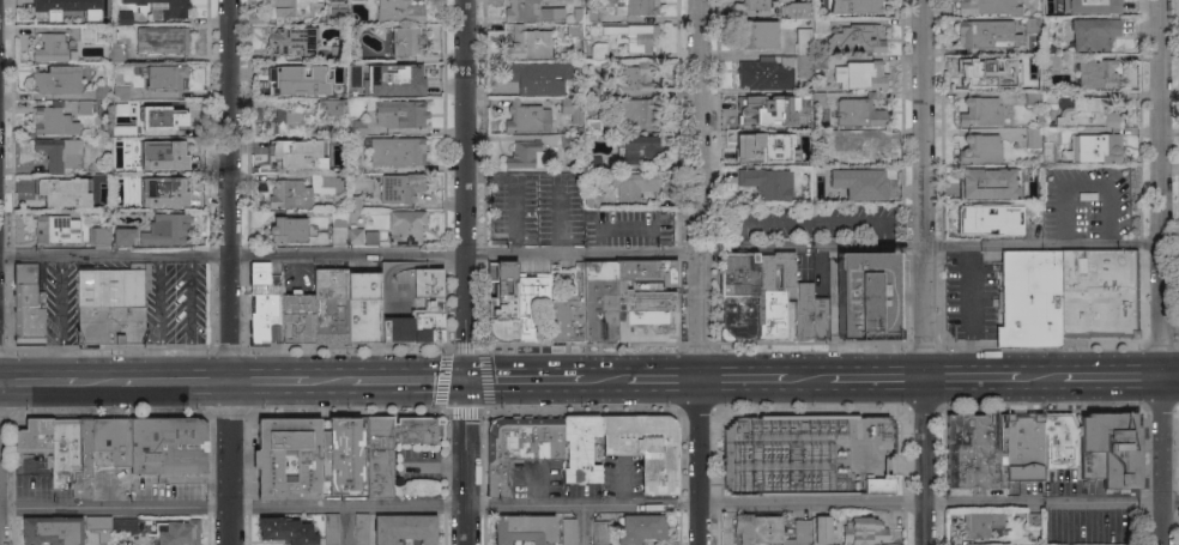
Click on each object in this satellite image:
building: (91, 1)
building: (755, 5)
building: (855, 6)
building: (1098, 6)
building: (634, 7)
building: (987, 7)
building: (163, 8)
building: (796, 8)
building: (291, 10)
building: (49, 11)
building: (335, 11)
building: (398, 11)
building: (531, 11)
road: (738, 13)
building: (578, 14)
building: (592, 14)
building: (123, 18)
road: (649, 18)
building: (818, 24)
building: (1032, 24)
building: (359, 26)
building: (573, 29)
building: (86, 34)
building: (758, 34)
building: (987, 34)
building: (1093, 34)
building: (631, 36)
building: (857, 37)
building: (158, 40)
building: (291, 41)
building: (405, 41)
building: (803, 41)
building: (528, 43)
building: (53, 48)
building: (116, 52)
building: (598, 52)
building: (337, 53)
building: (1051, 60)
building: (818, 61)
building: (1030, 61)
building: (803, 65)
building: (745, 71)
building: (1096, 73)
building: (395, 74)
building: (859, 74)
building: (984, 74)
building: (164, 77)
building: (538, 77)
building: (636, 77)
building: (56, 80)
building: (297, 80)
building: (806, 85)
building: (594, 90)
building: (120, 91)
building: (367, 91)
building: (101, 92)
building: (817, 97)
building: (1032, 97)
building: (1048, 97)
building: (84, 107)
building: (329, 107)
building: (762, 107)
building: (572, 108)
building: (634, 110)
building: (858, 110)
building: (980, 111)
building: (400, 113)
building: (1089, 113)
building: (165, 114)
building: (526, 117)
building: (289, 120)
building: (52, 121)
building: (799, 121)
building: (358, 126)
building: (592, 126)
building: (122, 128)
building: (820, 135)
building: (1033, 138)
building: (568, 141)
building: (1047, 143)
building: (757, 146)
building: (863, 147)
building: (1095, 147)
building: (639, 149)
building: (395, 150)
building: (980, 150)
building: (59, 152)
building: (167, 153)
building: (300, 153)
building: (525, 155)
building: (797, 157)
building: (592, 161)
building: (353, 163)
building: (122, 165)
building: (767, 182)
building: (859, 182)
building: (985, 182)
building: (631, 184)
building: (399, 187)
building: (161, 189)
road: (467, 190)
building: (62, 192)
road: (514, 193)
building: (289, 194)
building: (589, 199)
building: (352, 202)
building: (117, 205)
building: (1033, 210)
road: (556, 216)
building: (984, 218)
building: (338, 219)
building: (405, 226)
road: (624, 228)
building: (56, 229)
building: (167, 230)
building: (288, 230)
building: (98, 235)
building: (353, 235)
building: (122, 236)
building: (370, 237)
road: (597, 241)
road: (652, 241)
road: (589, 255)
road: (231, 272)
road: (702, 272)
road: (924, 272)
road: (1165, 272)
building: (1096, 290)
building: (864, 292)
building: (773, 293)
building: (738, 295)
building: (1029, 297)
building: (410, 301)
building: (598, 301)
building: (643, 301)
building: (515, 302)
building: (264, 303)
building: (28, 304)
building: (331, 305)
building: (108, 307)
building: (363, 307)
building: (569, 309)
building: (808, 311)
building: (296, 316)
road: (188, 319)
road: (158, 320)
road: (1172, 376)
road: (1112, 377)
road: (604, 379)
road: (664, 379)
road: (877, 379)
road: (971, 379)
road: (1038, 379)
road: (524, 380)
road: (743, 380)
road: (808, 380)
road: (270, 381)
road: (329, 381)
road: (407, 381)
traffic signals: (465, 381)
road: (38, 382)
road: (99, 382)
road: (177, 382)
road: (465, 401)
building: (1177, 423)
building: (34, 436)
building: (109, 441)
building: (1058, 442)
building: (1023, 446)
building: (645, 447)
building: (168, 448)
building: (392, 448)
building: (518, 448)
building: (580, 448)
building: (1108, 449)
building: (974, 450)
building: (71, 454)
power substation: (808, 454)
building: (343, 455)
building: (289, 458)
road: (465, 483)
building: (877, 484)
road: (588, 505)
building: (1033, 521)
building: (122, 523)
building: (978, 523)
road: (347, 526)
road: (582, 526)
building: (98, 527)
building: (331, 528)
building: (361, 528)
building: (404, 528)
building: (640, 528)
building: (52, 529)
building: (524, 529)
building: (768, 529)
building: (821, 529)
building: (286, 531)
building: (864, 531)
building: (179, 532)
building: (568, 532)
building: (599, 532)

